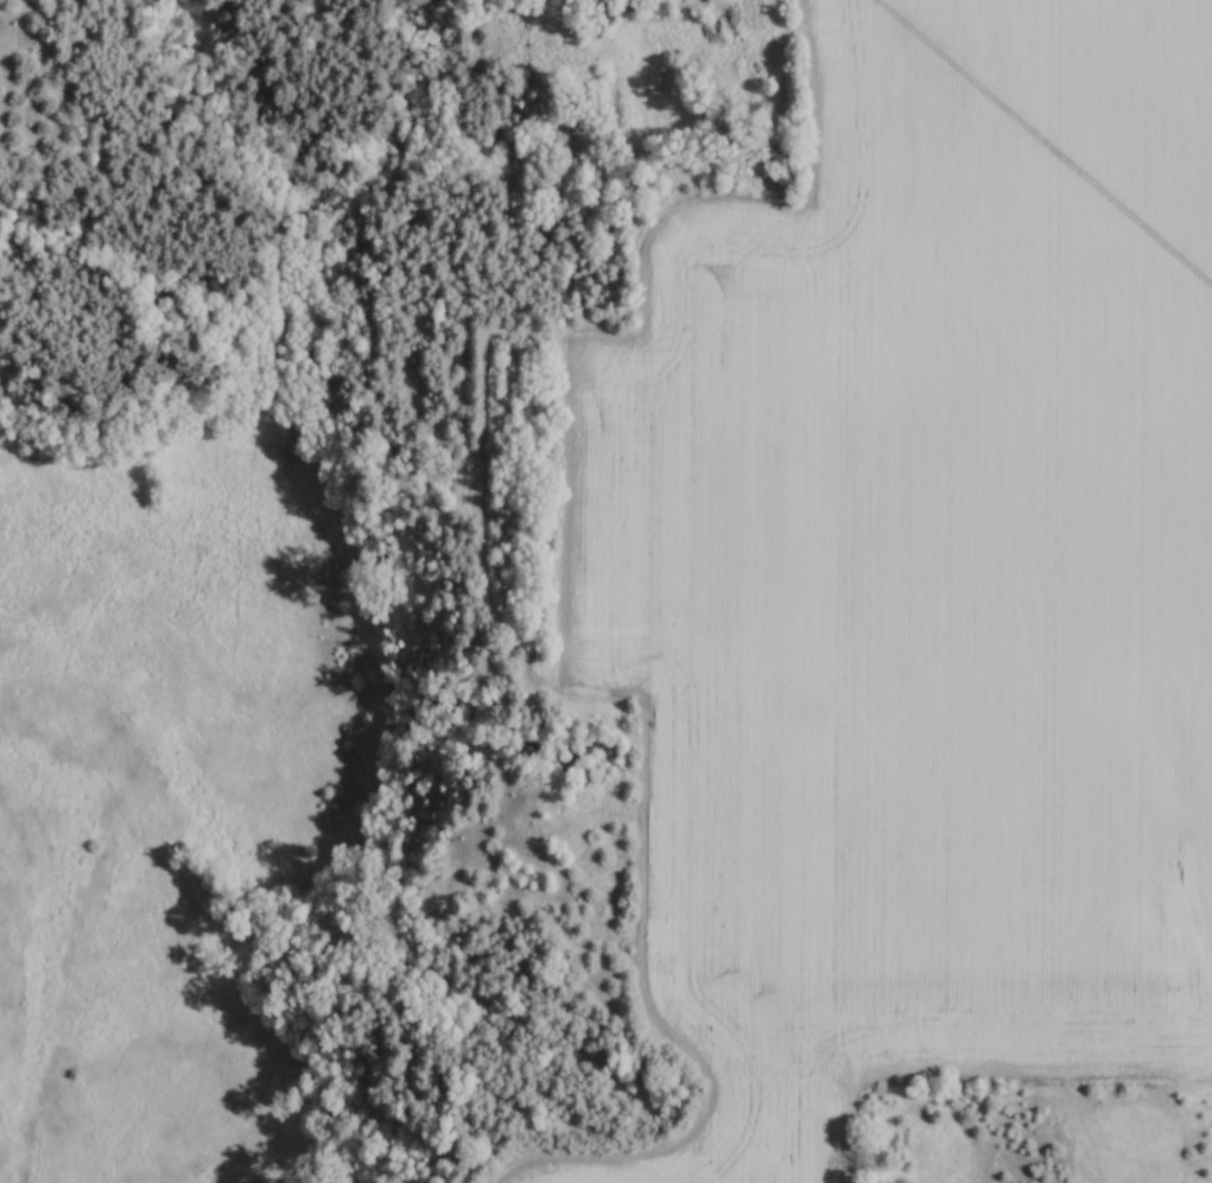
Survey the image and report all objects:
building: (594, 1)

